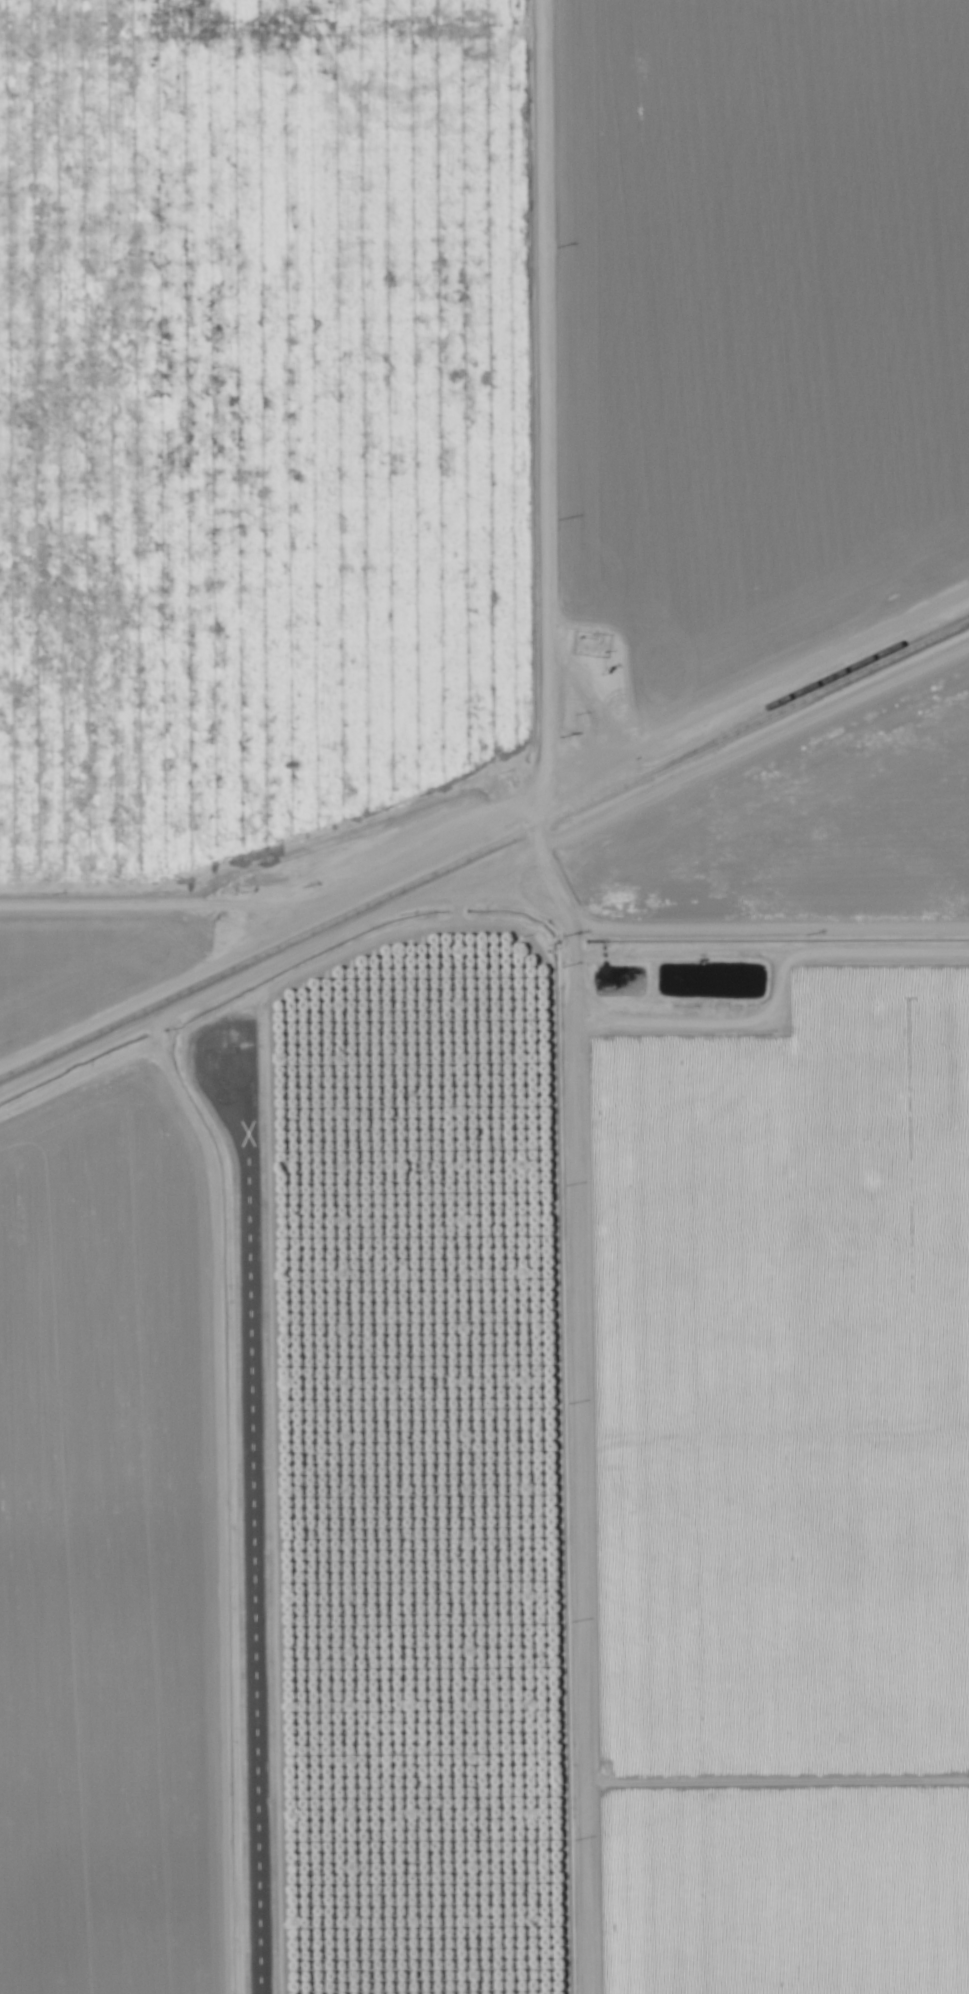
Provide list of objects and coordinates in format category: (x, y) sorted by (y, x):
crop: (745, 338)
crop: (265, 437)
railway: (813, 686)
road: (639, 754)
crop: (808, 828)
railway: (484, 853)
road: (156, 907)
road: (770, 937)
crop: (101, 947)
road: (571, 993)
crop: (760, 1473)
airport runway: (248, 1514)
crop: (110, 1540)

